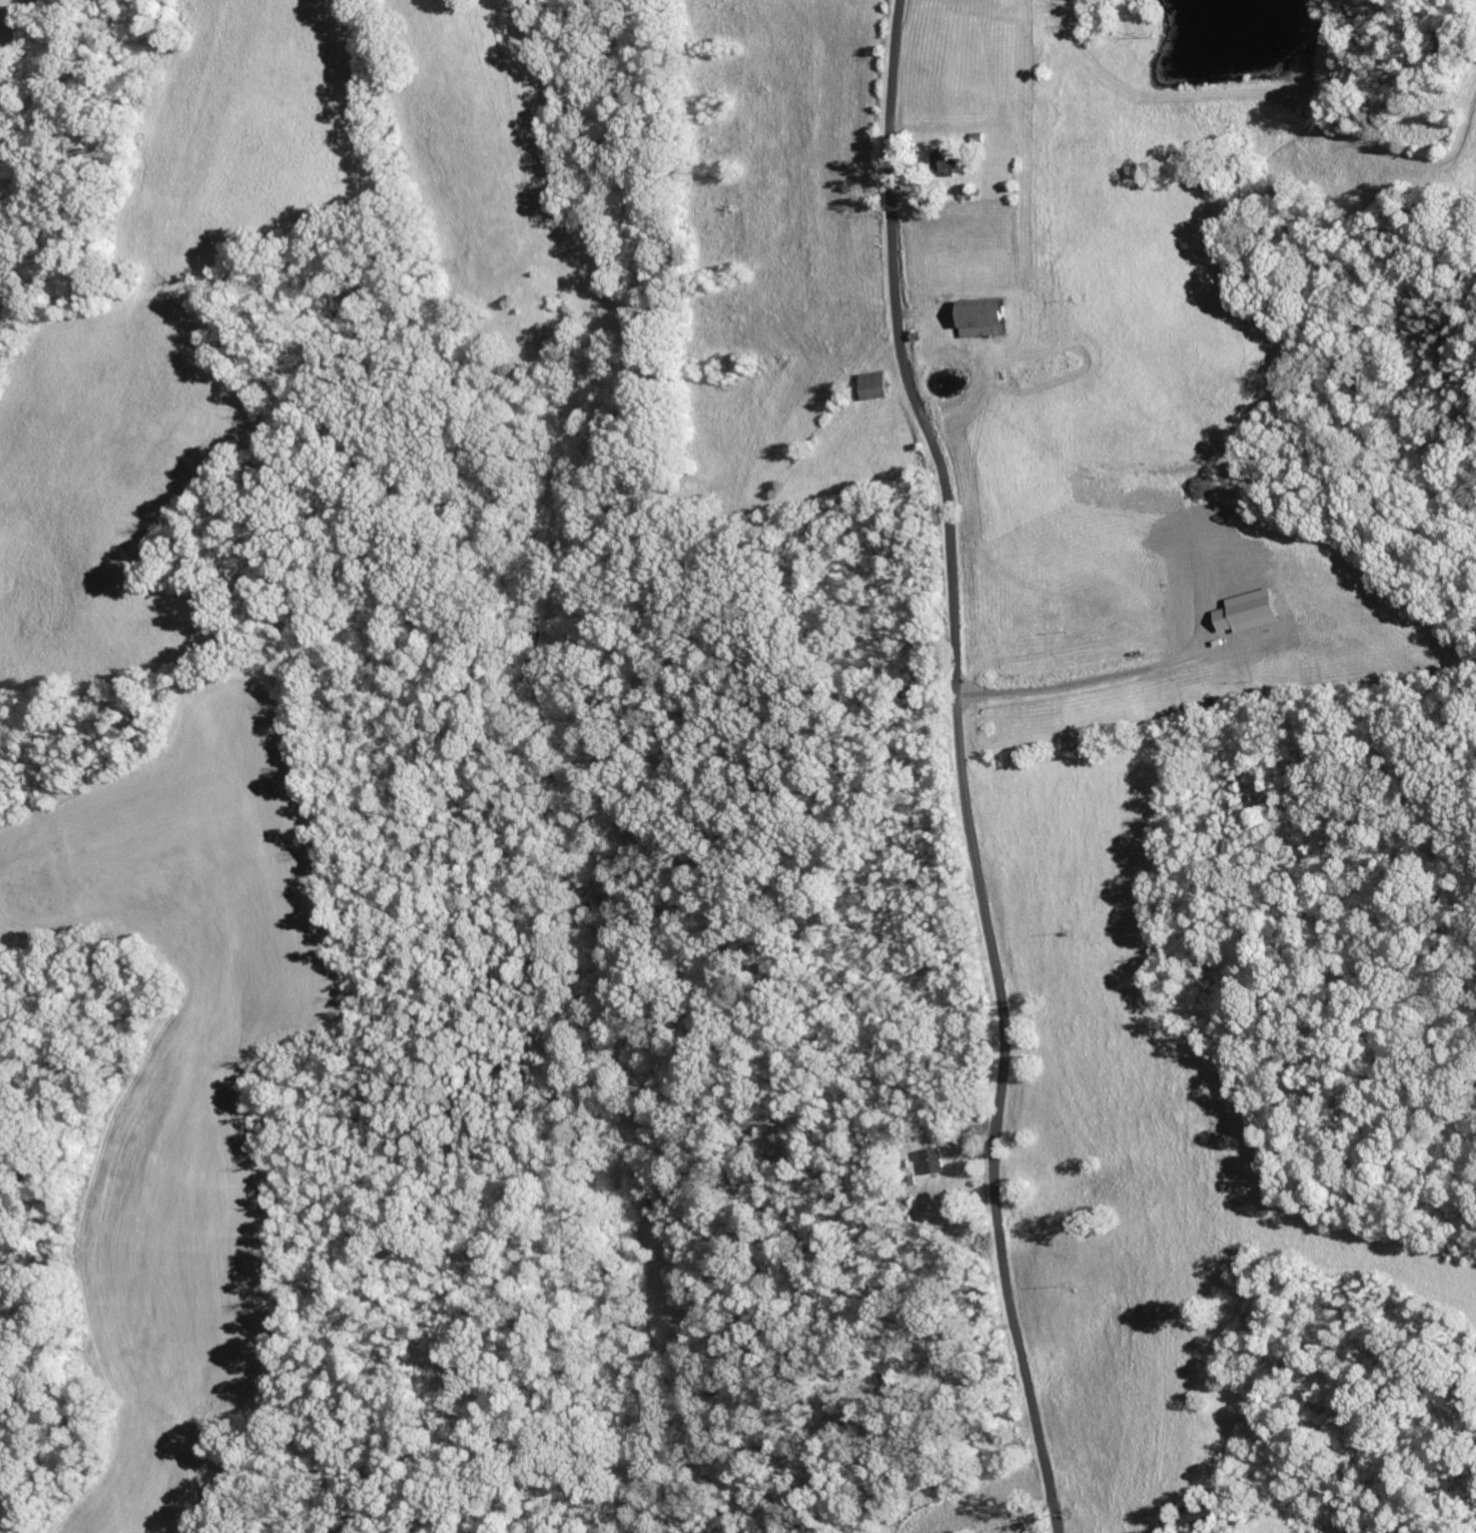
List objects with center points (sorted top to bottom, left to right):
building: (950, 162)
building: (967, 191)
building: (985, 315)
road: (1081, 671)
road: (962, 766)
building: (935, 1160)

